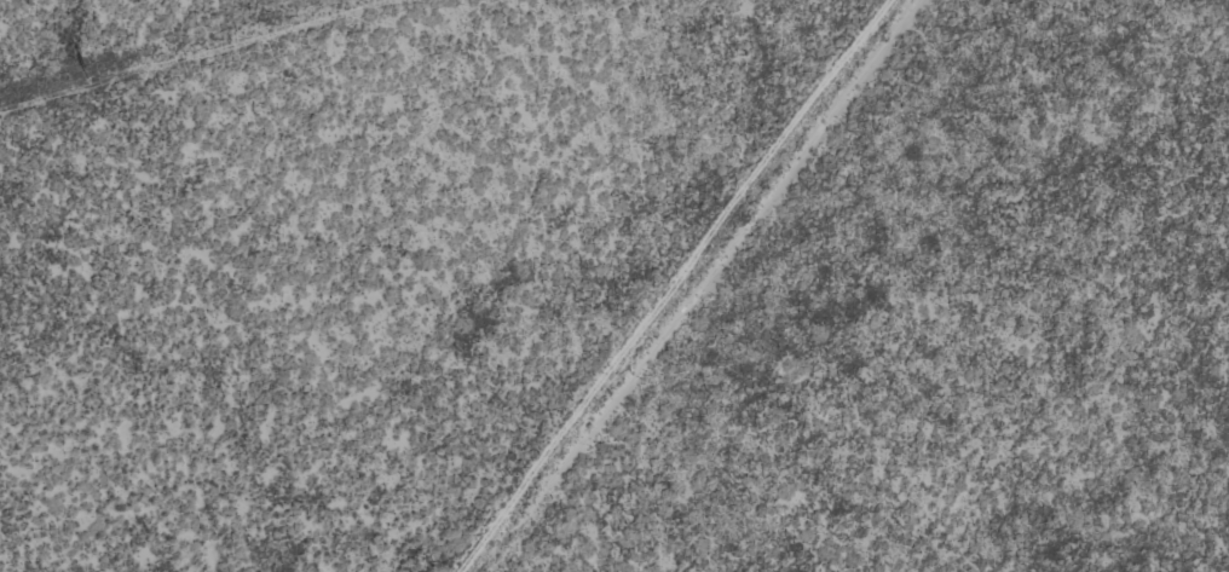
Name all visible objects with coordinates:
power tower: (87, 74)

